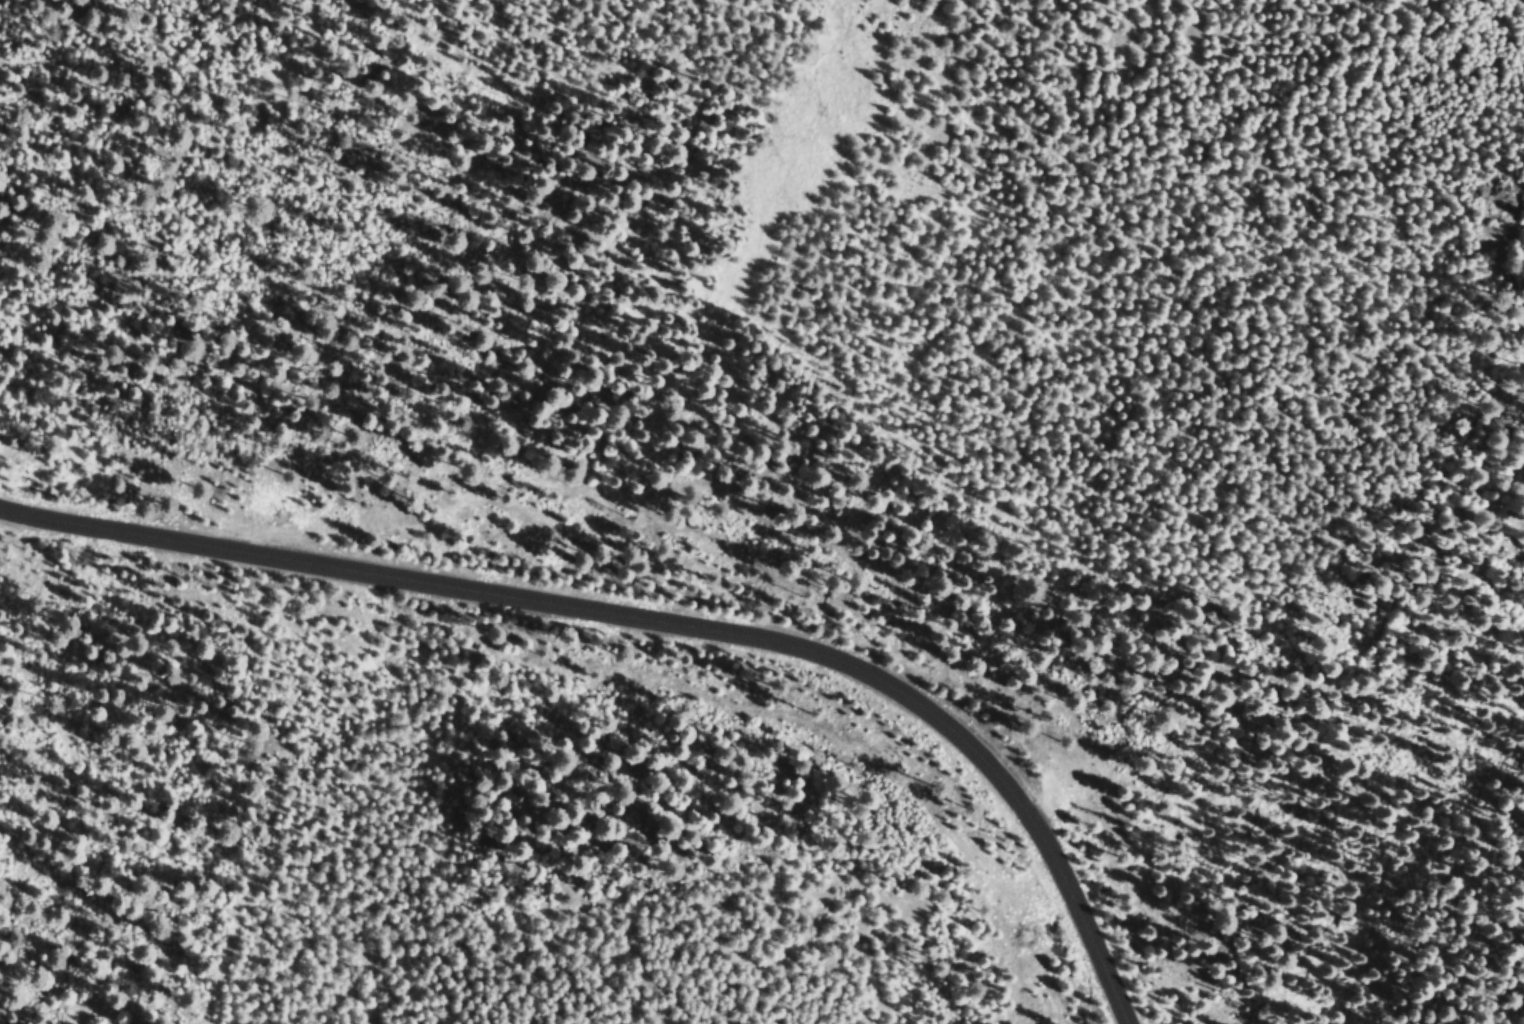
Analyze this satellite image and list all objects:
road: (655, 623)

